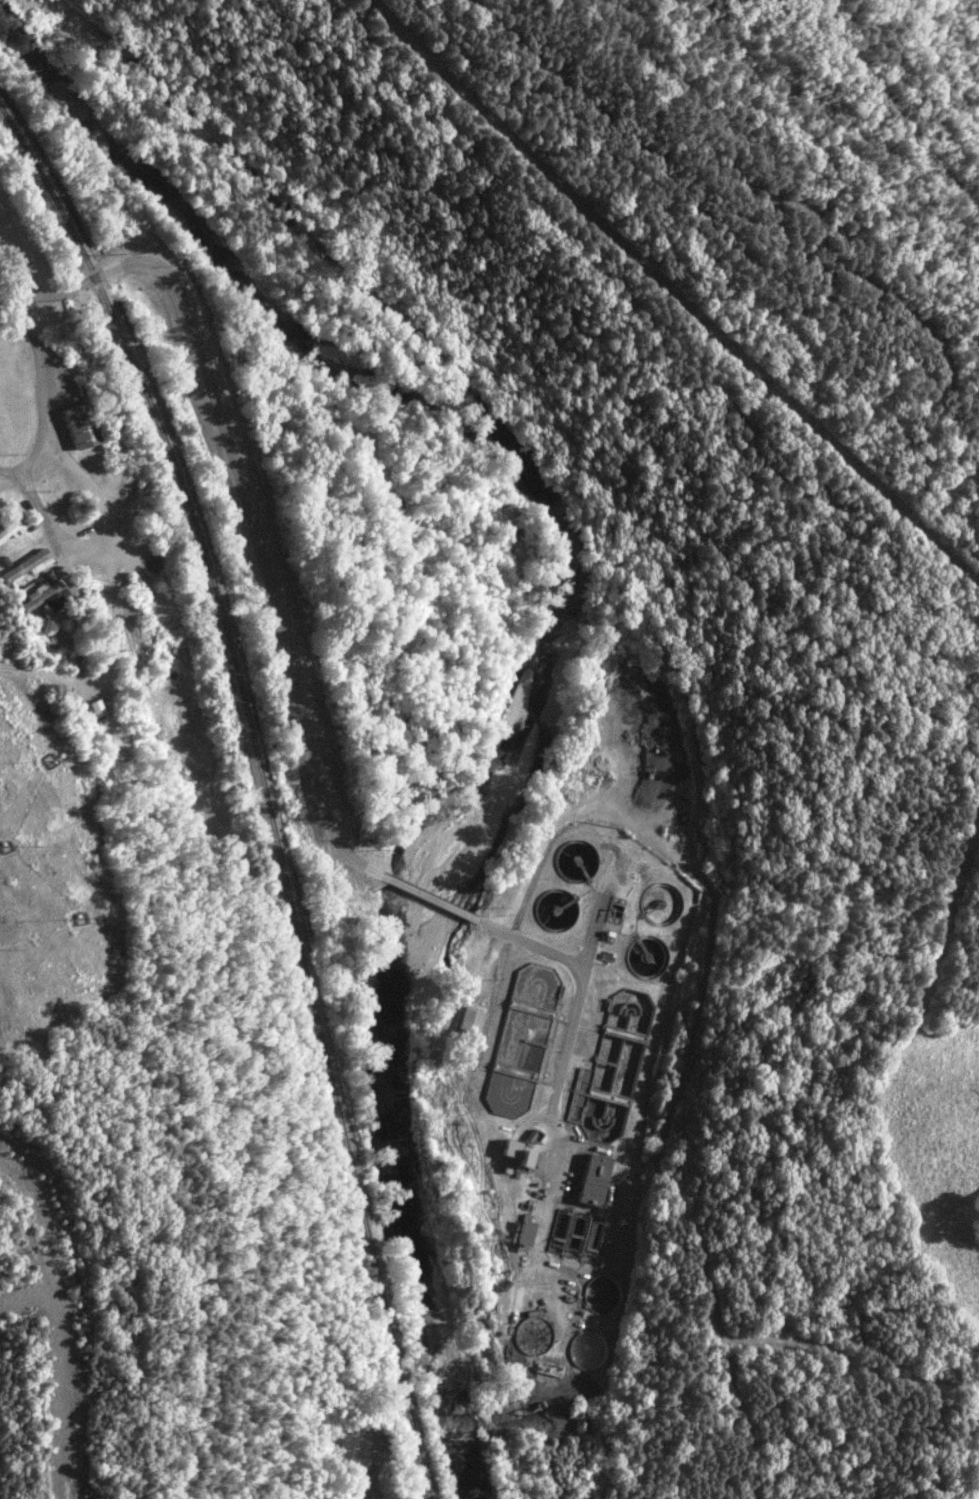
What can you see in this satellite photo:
river: (399, 403)
road: (41, 423)
building: (80, 425)
road: (13, 467)
building: (11, 528)
road: (261, 565)
building: (29, 566)
building: (48, 599)
railway: (260, 789)
road: (573, 997)
building: (467, 1018)
building: (513, 1154)
building: (591, 1180)
building: (519, 1237)

